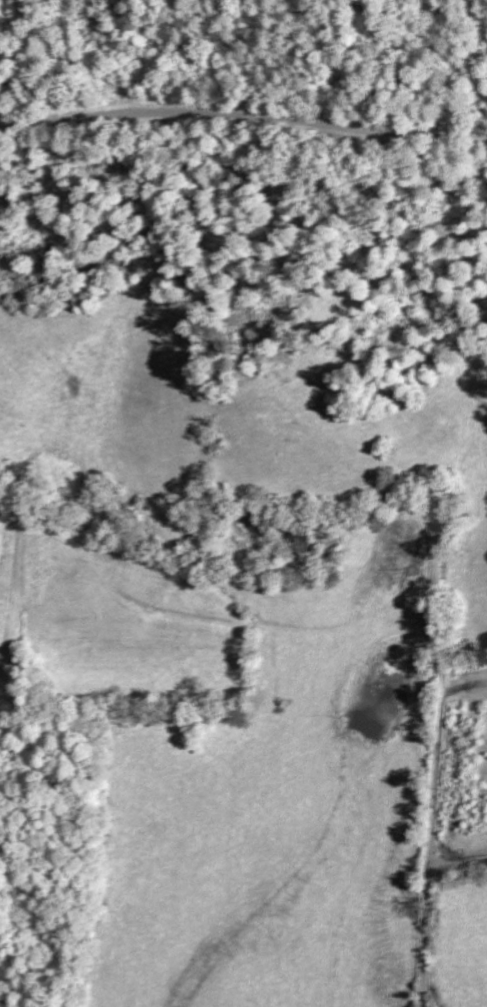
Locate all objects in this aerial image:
building: (299, 541)
road: (427, 943)

